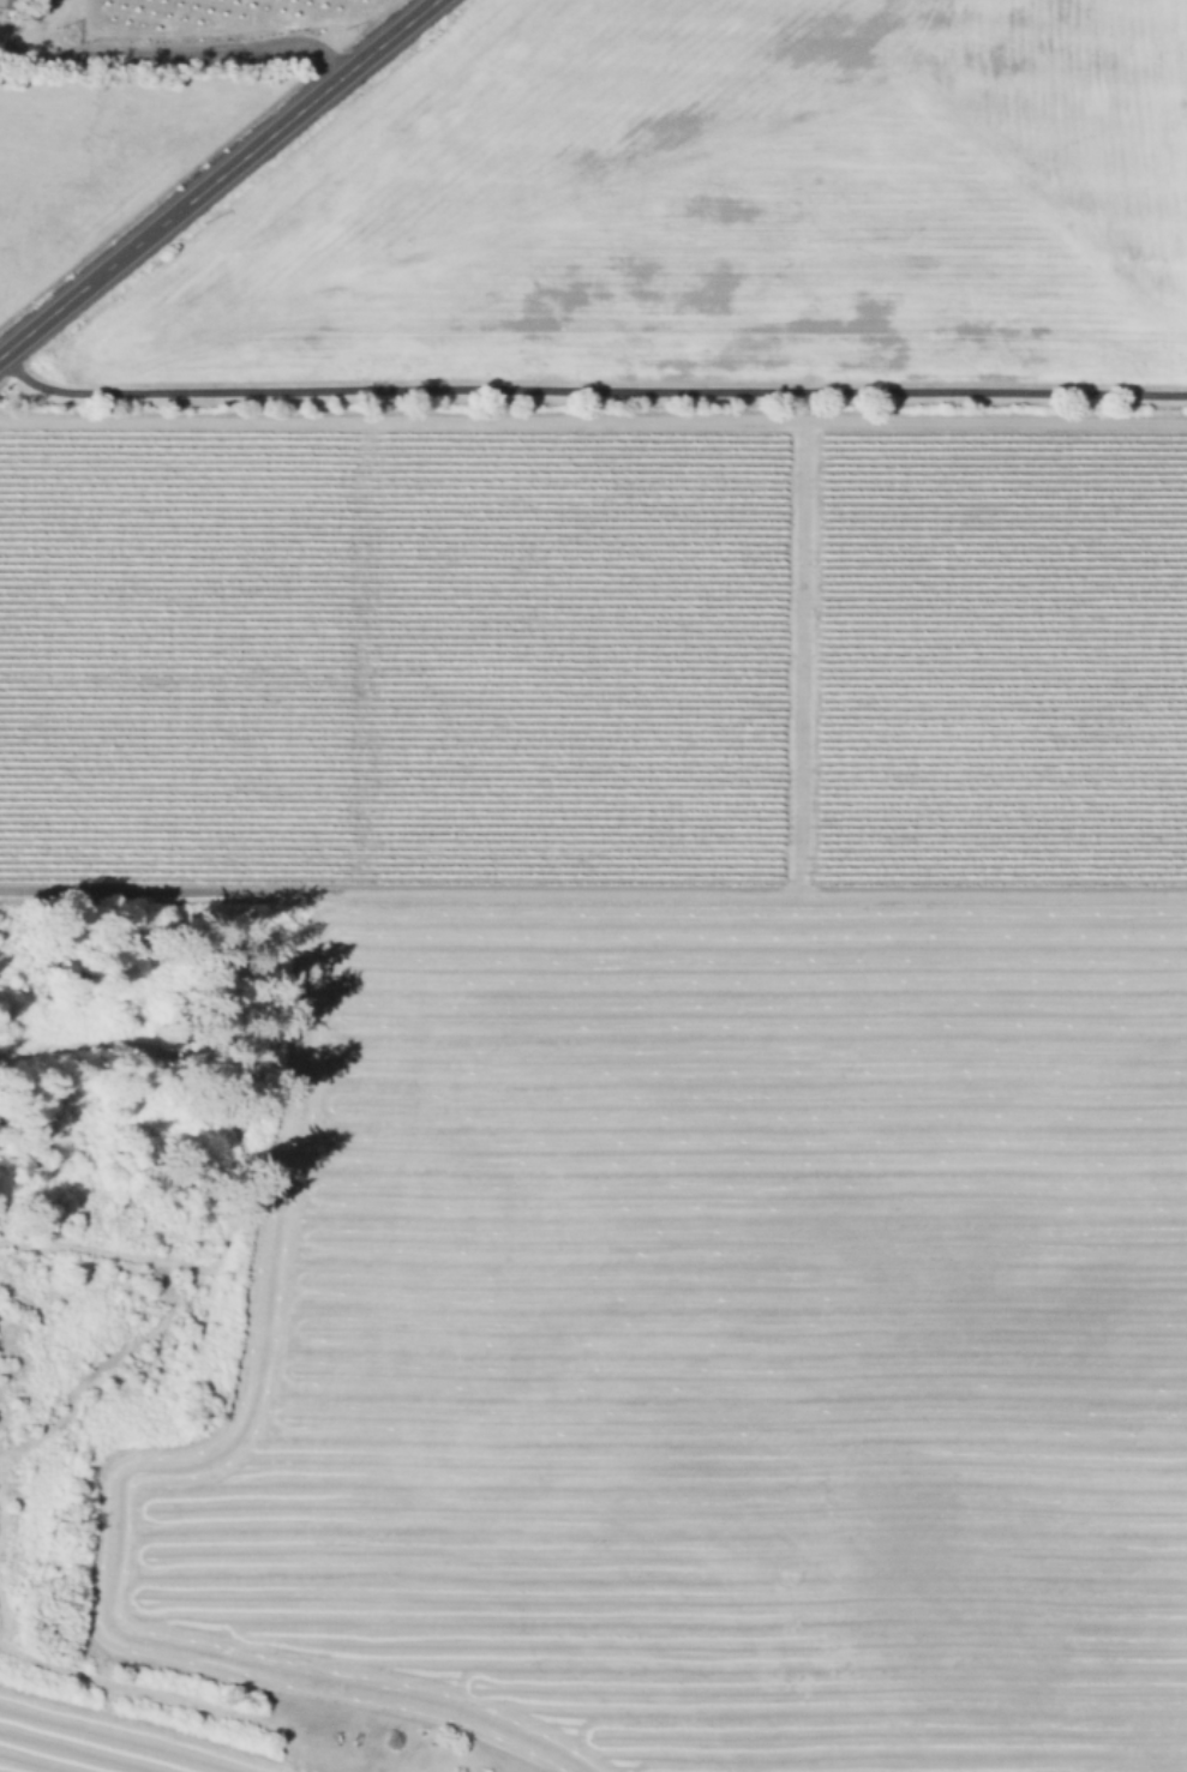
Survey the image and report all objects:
building: (10, 2)
road: (7, 43)
road: (176, 50)
road: (217, 178)
crop: (707, 203)
road: (587, 397)
road: (593, 420)
road: (798, 655)
road: (593, 888)
crop: (706, 1339)
road: (126, 1684)
crop: (113, 1740)

